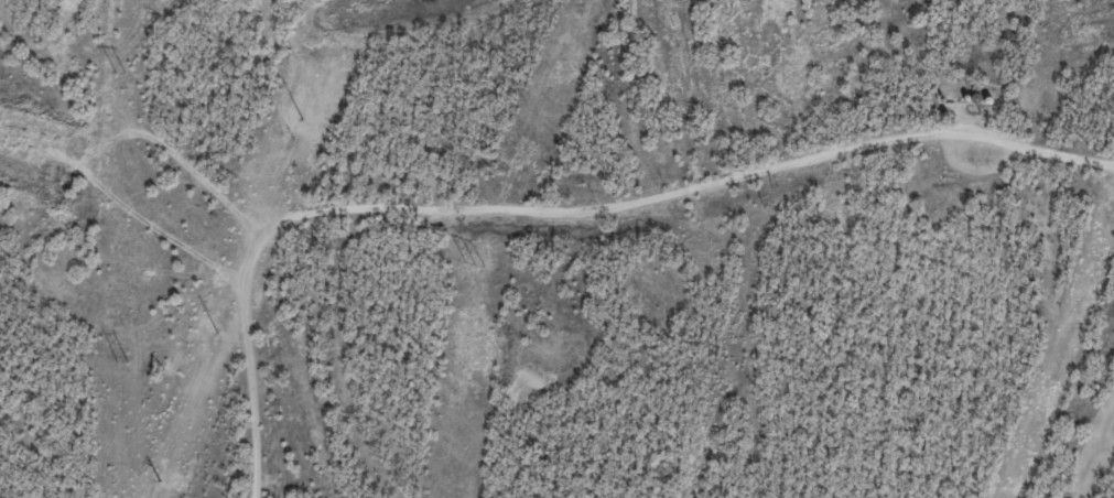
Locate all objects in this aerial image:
power tower: (119, 73)
road: (562, 209)
power tower: (473, 264)
power tower: (119, 362)

